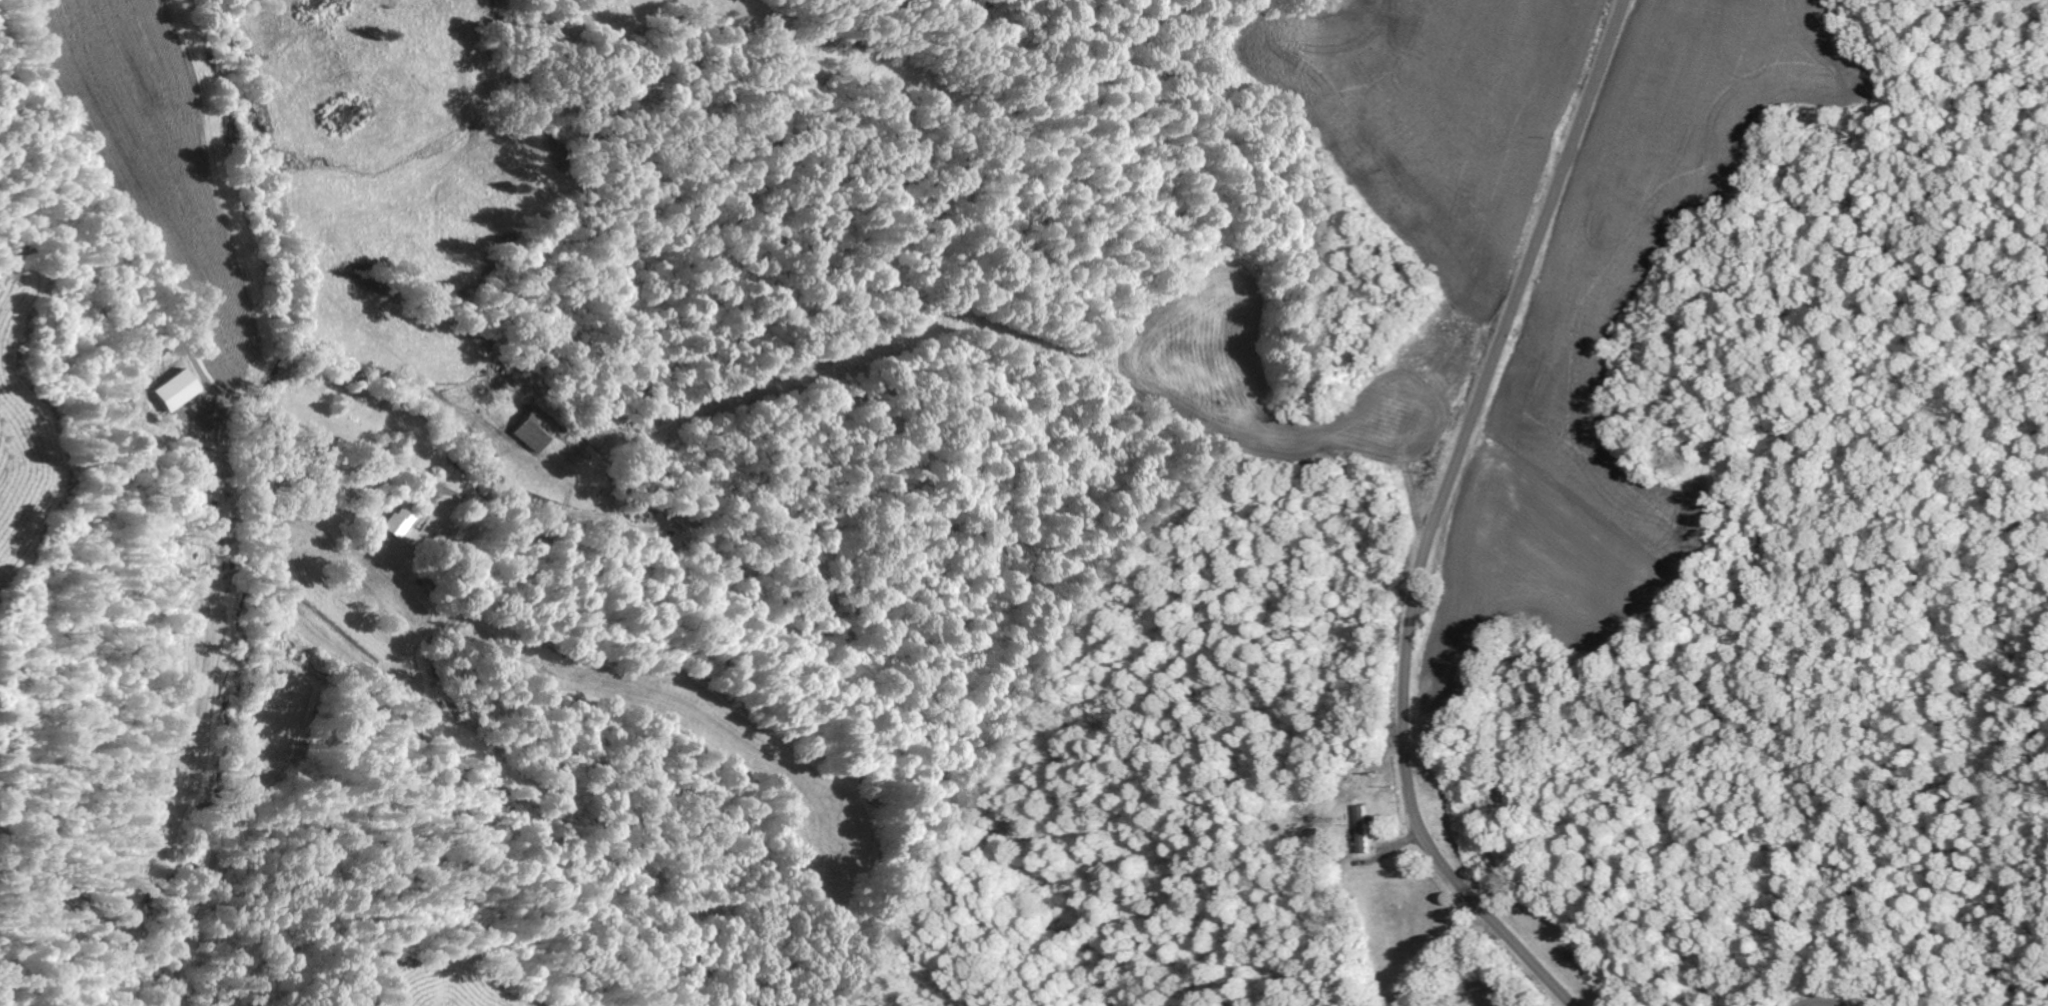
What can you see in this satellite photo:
building: (170, 390)
road: (1436, 517)
building: (396, 522)
building: (1363, 826)

